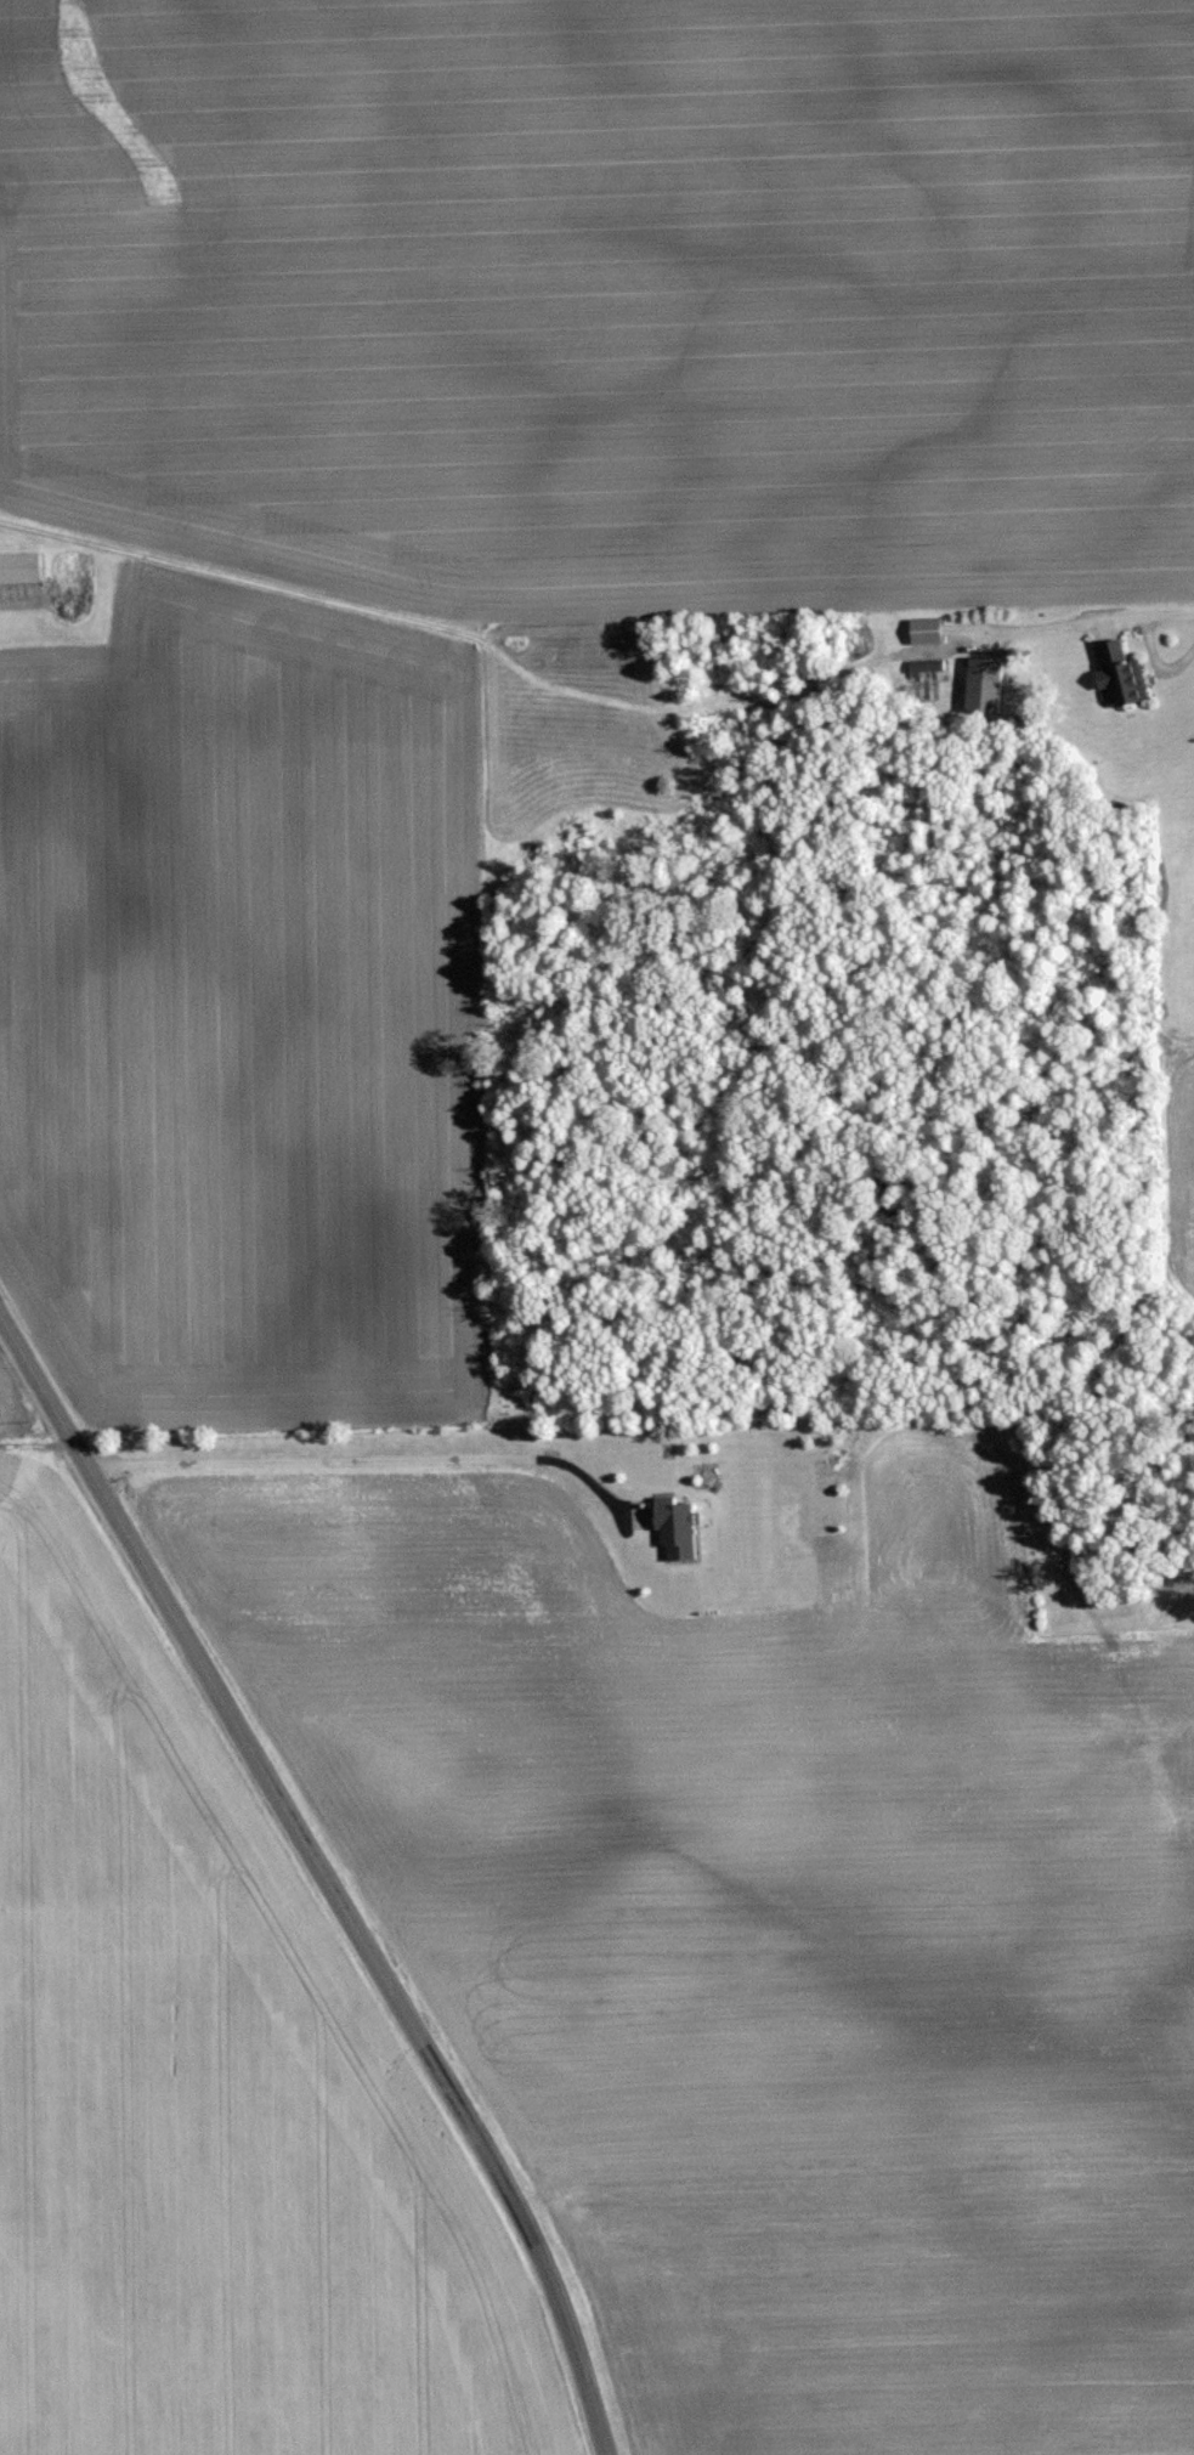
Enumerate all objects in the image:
building: (22, 569)
road: (1171, 611)
building: (932, 633)
building: (929, 664)
building: (1120, 672)
building: (988, 684)
road: (370, 1453)
building: (681, 1527)
road: (322, 1874)

